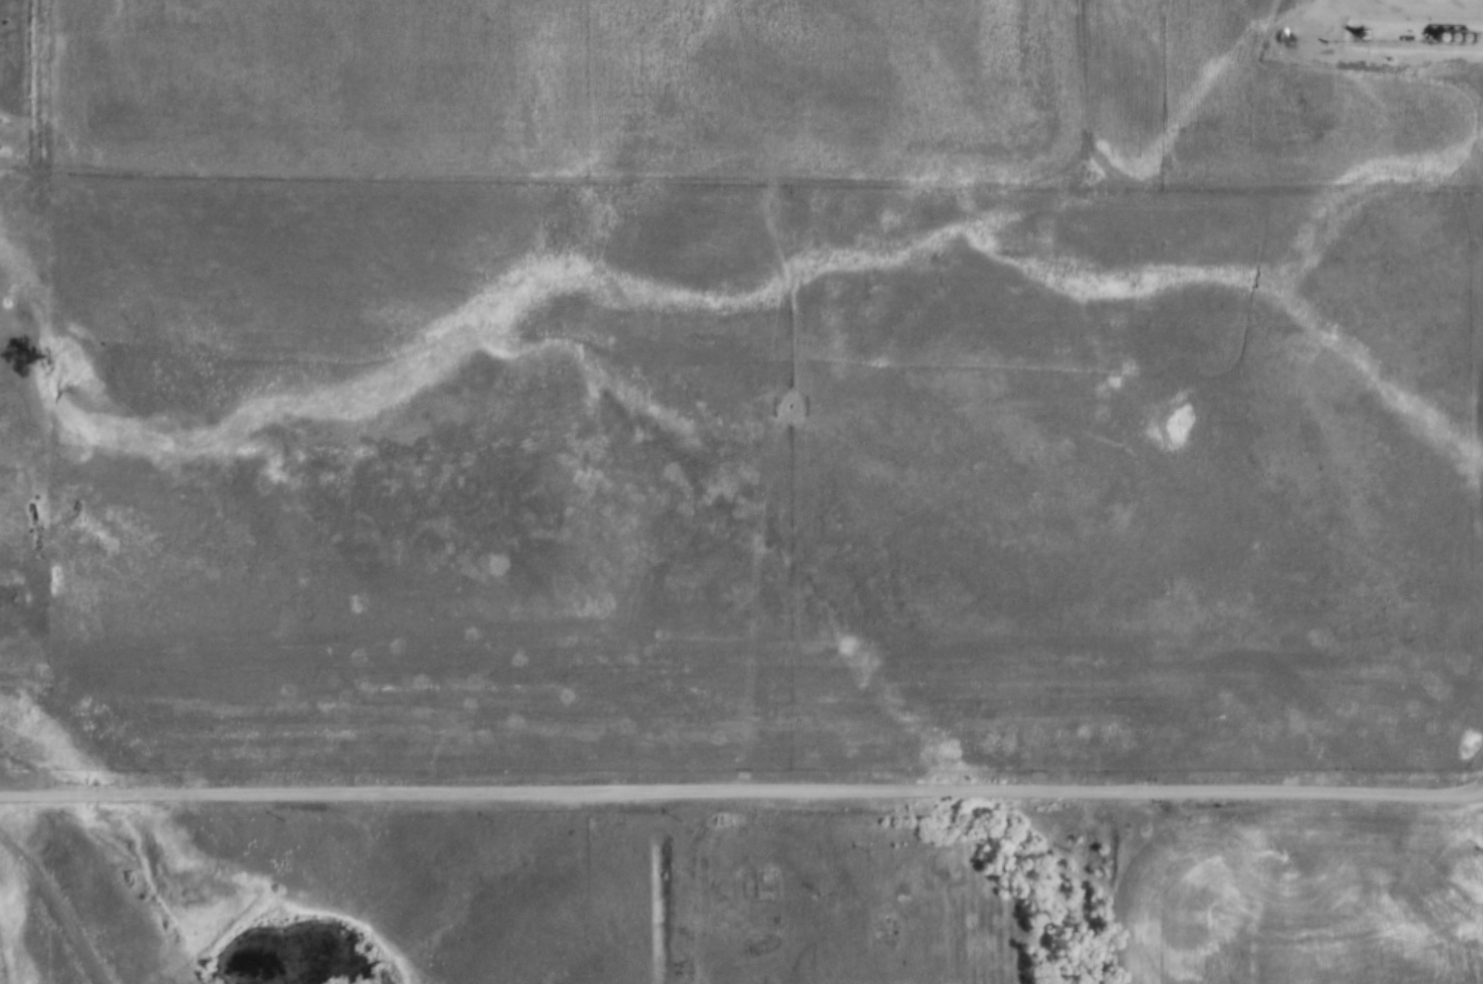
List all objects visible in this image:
road: (1416, 14)
road: (743, 787)
road: (53, 910)

